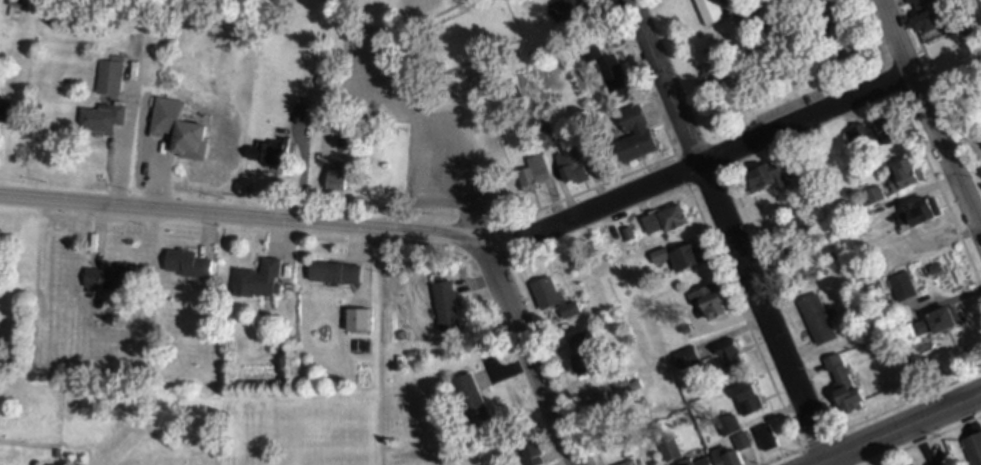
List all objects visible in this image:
building: (48, 2)
building: (572, 9)
building: (711, 12)
building: (928, 15)
road: (427, 18)
park: (772, 61)
building: (609, 66)
building: (111, 77)
road: (640, 77)
road: (669, 81)
park: (403, 106)
building: (179, 107)
building: (6, 109)
building: (303, 115)
road: (931, 115)
building: (104, 117)
parking lot: (410, 124)
road: (432, 129)
building: (638, 133)
building: (877, 133)
building: (349, 136)
building: (546, 137)
building: (189, 142)
building: (273, 152)
building: (573, 163)
building: (534, 173)
building: (770, 176)
building: (907, 176)
building: (339, 178)
road: (937, 185)
building: (876, 194)
road: (439, 214)
building: (920, 215)
building: (667, 219)
building: (796, 224)
building: (629, 234)
road: (474, 240)
building: (789, 252)
building: (681, 257)
building: (191, 263)
building: (335, 272)
building: (116, 279)
building: (261, 279)
building: (904, 286)
building: (553, 297)
building: (714, 301)
road: (736, 301)
building: (449, 307)
road: (765, 311)
building: (820, 319)
building: (359, 320)
building: (942, 323)
building: (588, 353)
road: (536, 357)
building: (687, 358)
building: (730, 363)
building: (848, 385)
building: (627, 386)
building: (750, 400)
building: (475, 401)
building: (604, 405)
road: (575, 407)
road: (871, 418)
building: (730, 425)
road: (904, 425)
building: (769, 438)
road: (923, 440)
road: (919, 444)
building: (974, 447)
building: (532, 450)
building: (670, 451)
parking lot: (930, 454)
building: (730, 457)
building: (689, 459)
road: (822, 462)
road: (829, 462)
building: (630, 463)
building: (919, 464)
building: (922, 464)

